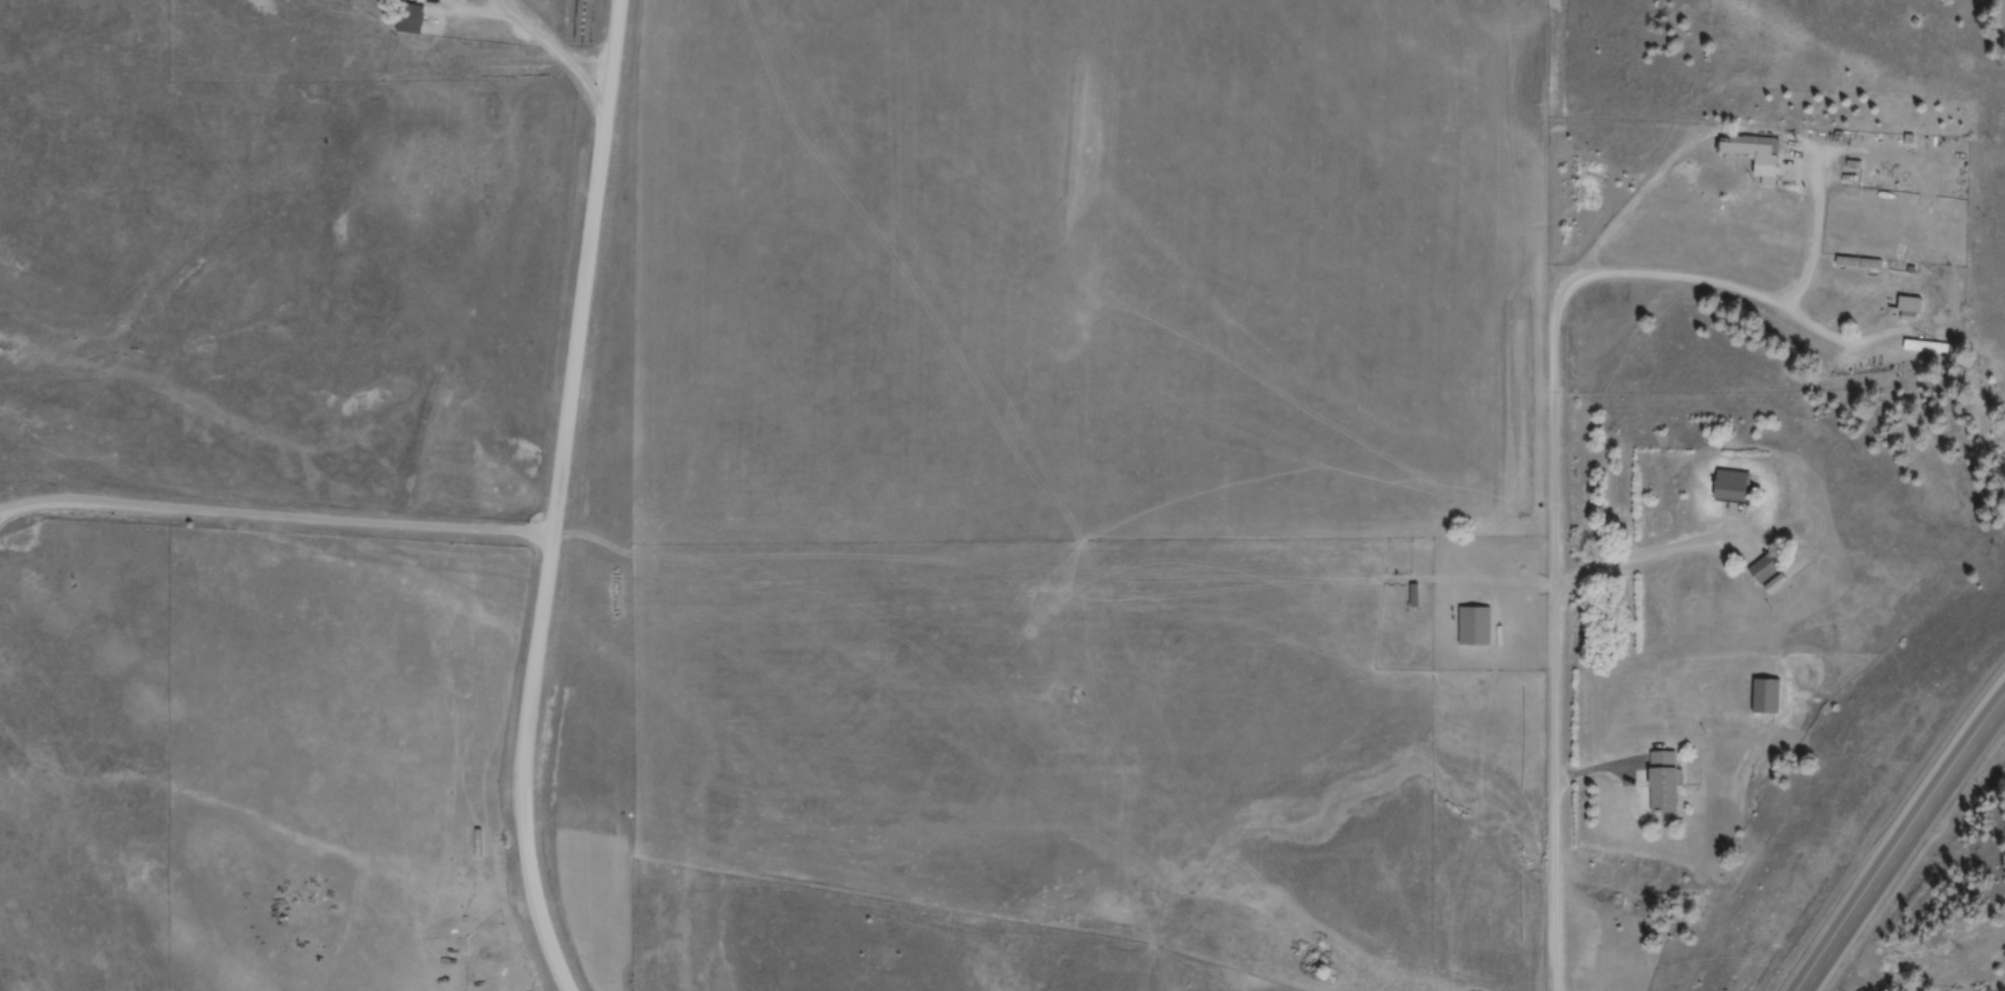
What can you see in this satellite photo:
building: (412, 21)
building: (1756, 153)
road: (1781, 249)
road: (1688, 276)
building: (1911, 310)
building: (1929, 349)
building: (1733, 489)
road: (557, 498)
building: (1770, 568)
building: (1415, 597)
building: (1476, 628)
road: (1557, 647)
building: (1768, 698)
road: (288, 701)
building: (1665, 784)
road: (1895, 846)

